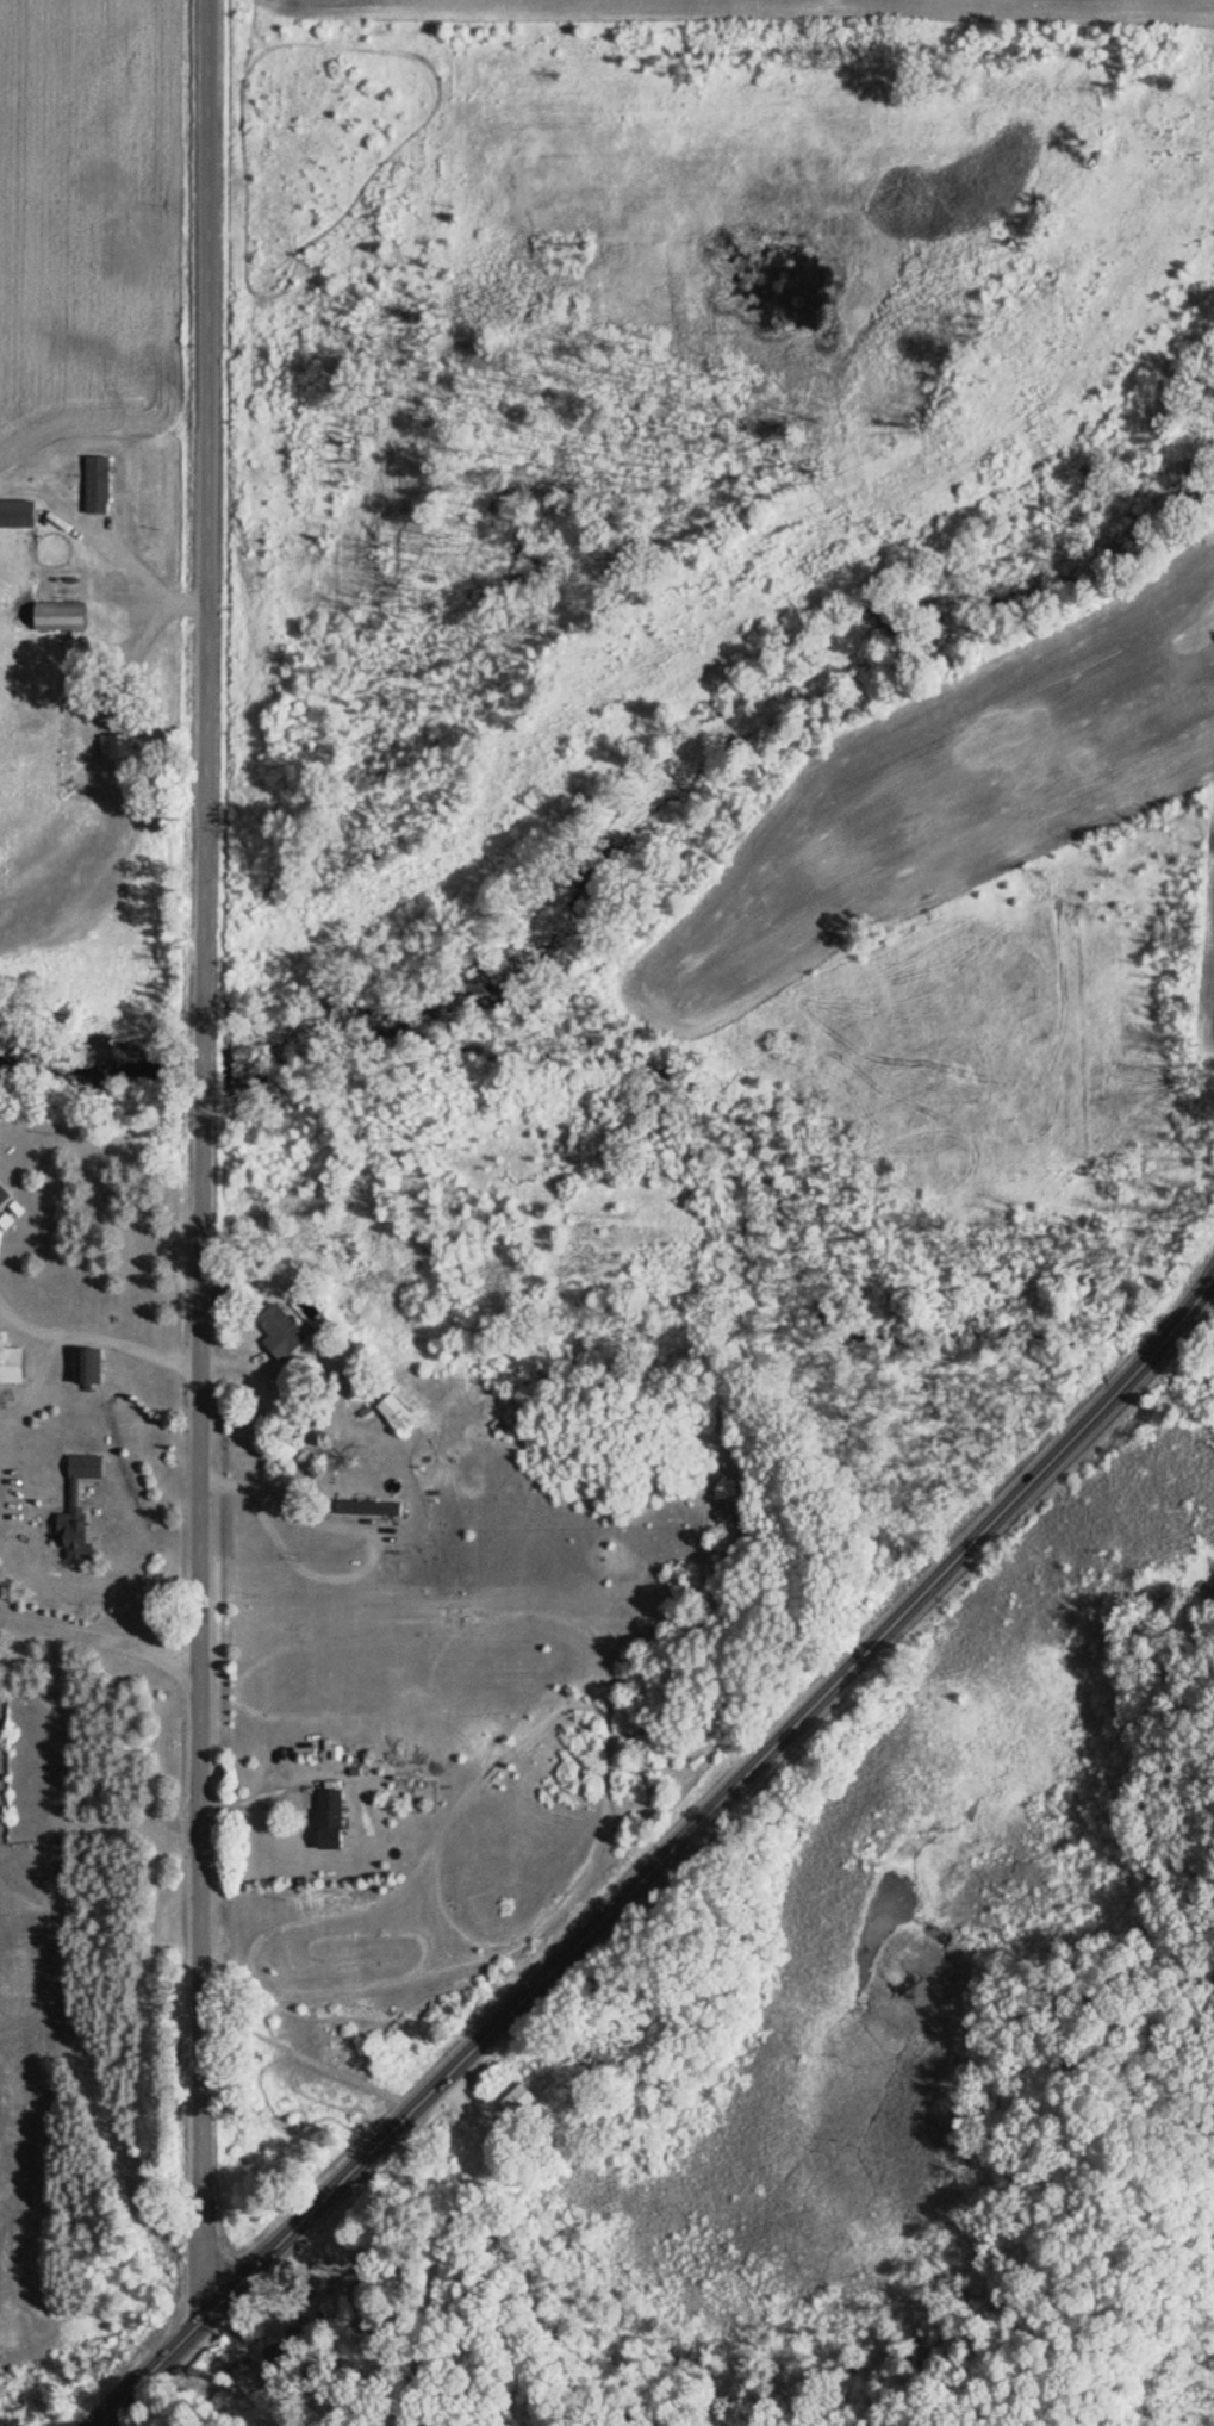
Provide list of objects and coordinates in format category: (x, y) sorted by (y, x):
building: (102, 484)
building: (19, 514)
road: (132, 554)
road: (193, 596)
building: (66, 616)
road: (139, 659)
building: (122, 747)
road: (204, 1158)
building: (5, 1196)
building: (286, 1330)
road: (98, 1335)
building: (14, 1364)
building: (94, 1364)
road: (39, 1388)
building: (403, 1413)
building: (374, 1506)
building: (77, 1507)
road: (286, 1545)
road: (102, 1628)
building: (334, 1818)
road: (660, 1859)
road: (310, 2057)
building: (556, 2084)
building: (524, 2100)
road: (444, 2247)
building: (291, 2349)

